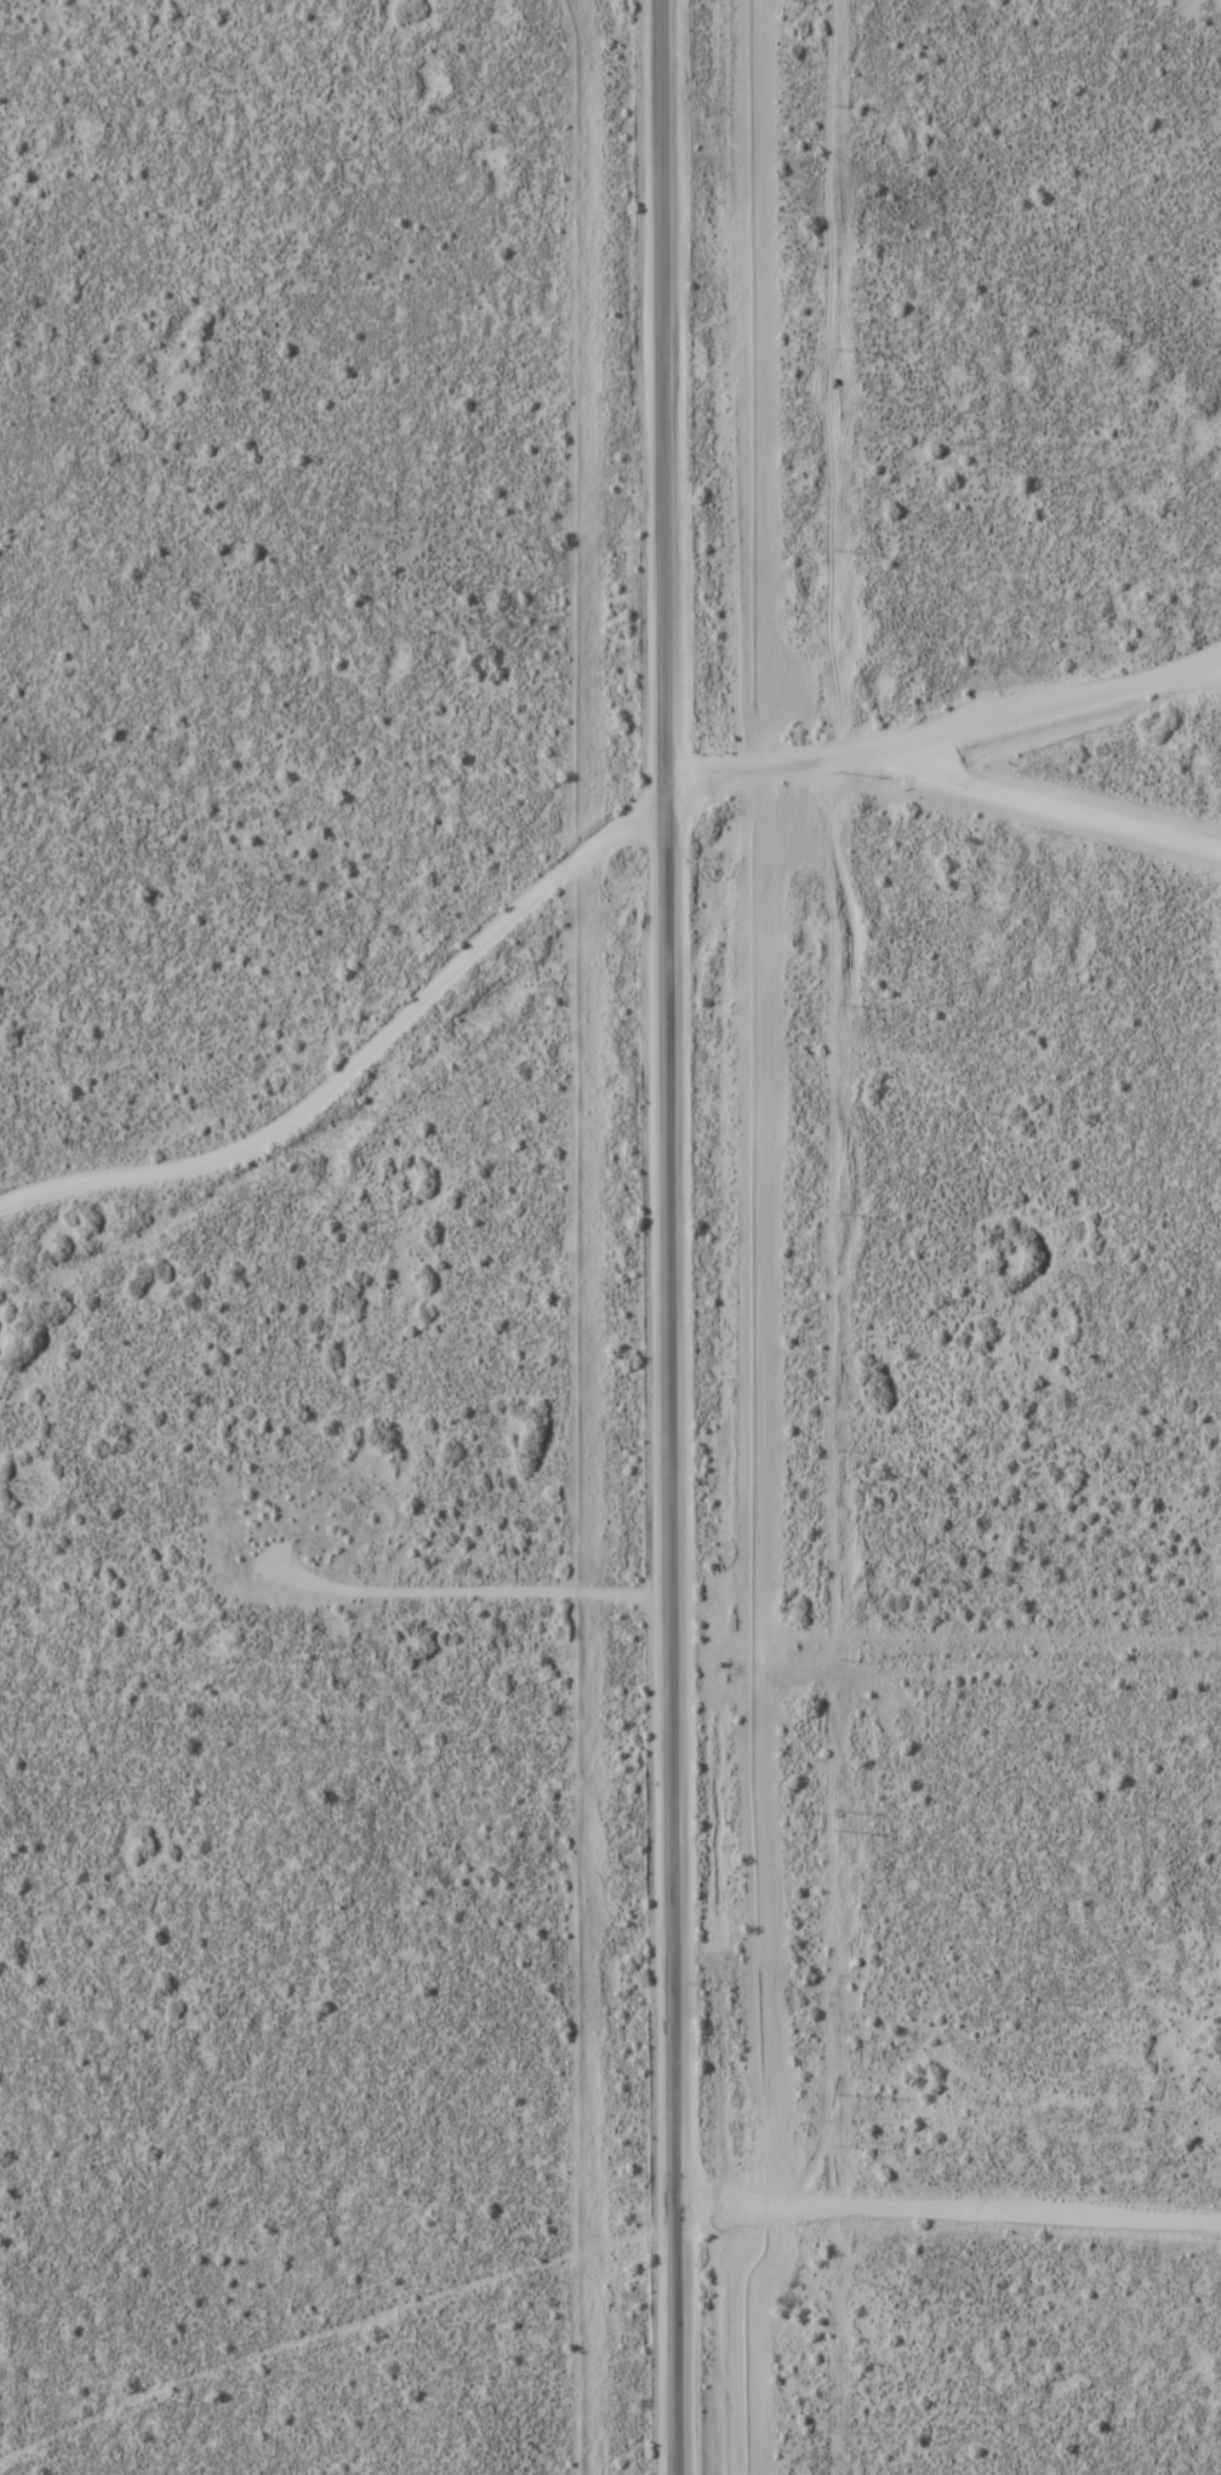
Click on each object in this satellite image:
road: (1211, 654)
road: (1038, 796)
road: (574, 858)
road: (664, 1237)
road: (496, 1586)
road: (946, 2204)

